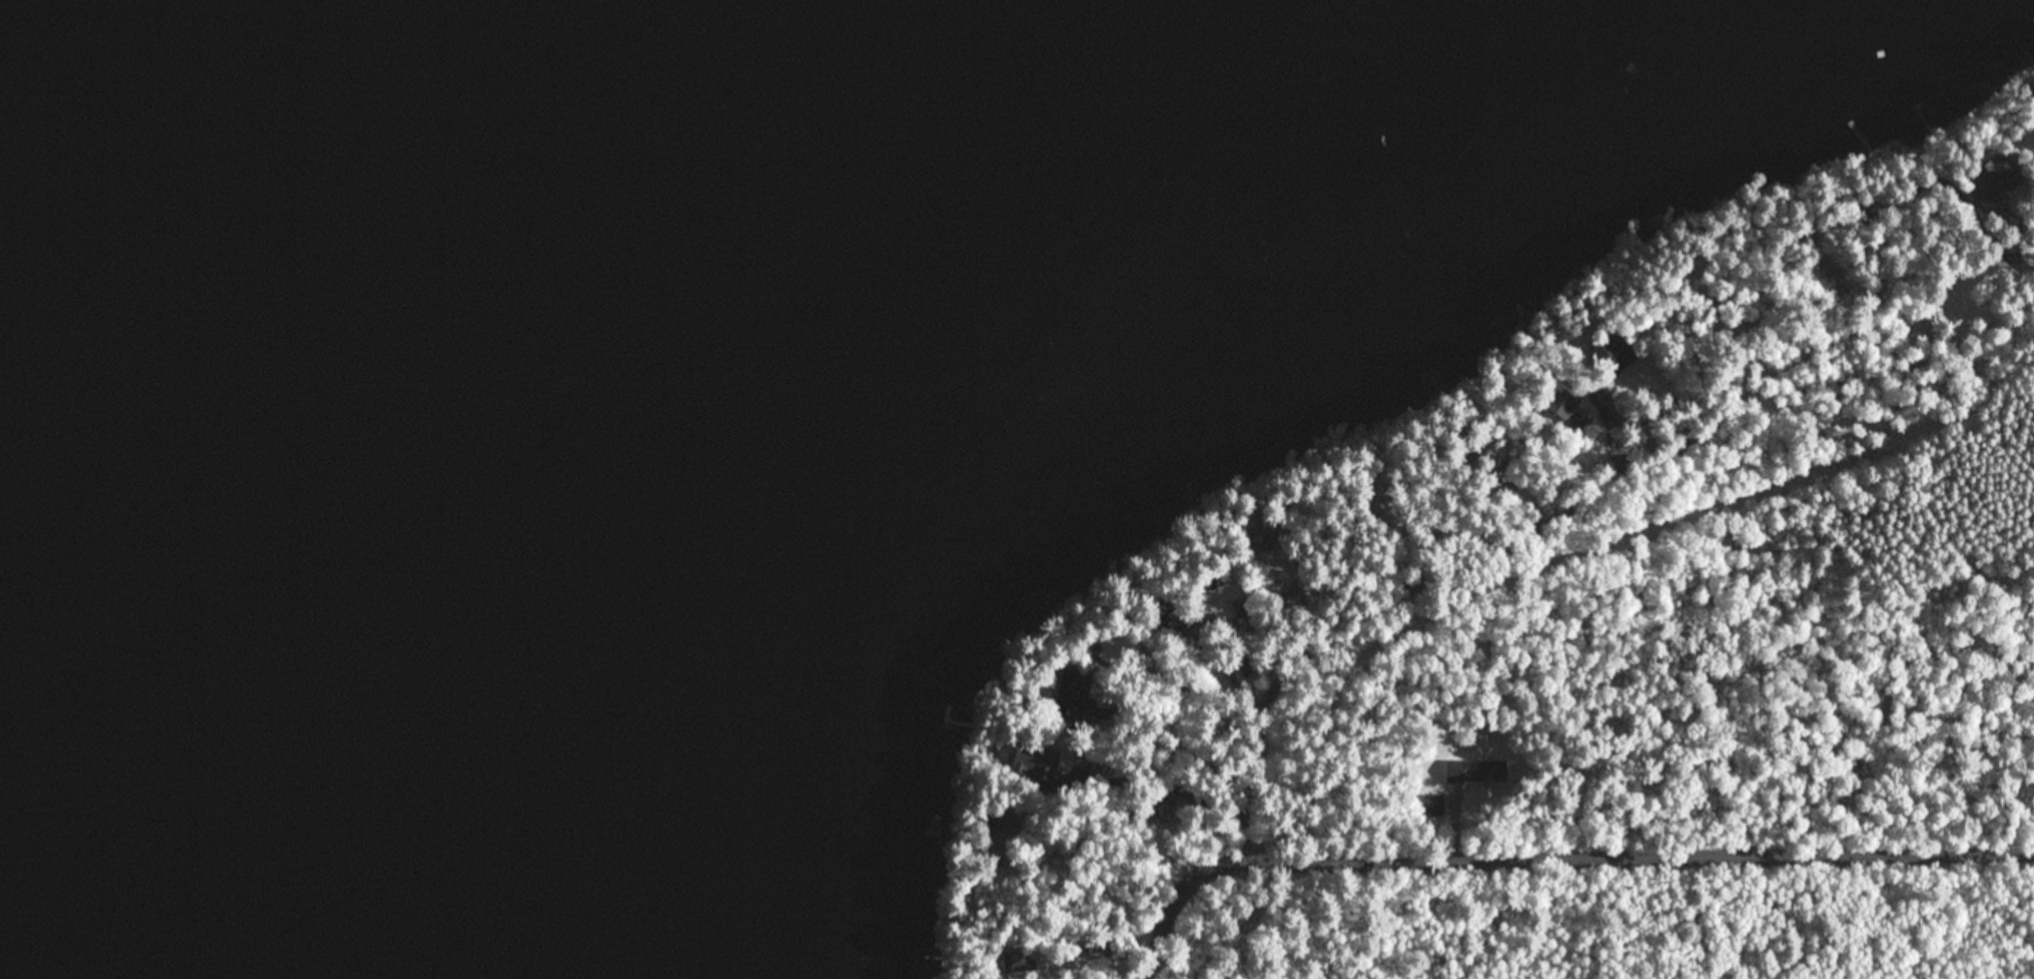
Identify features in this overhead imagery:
building: (1994, 182)
building: (1828, 279)
building: (1887, 291)
river: (173, 297)
building: (1732, 306)
building: (1614, 354)
building: (1693, 355)
building: (1559, 402)
building: (1585, 428)
building: (1475, 446)
building: (1459, 454)
building: (1519, 454)
building: (1374, 513)
building: (1268, 535)
road: (1501, 552)
building: (1265, 575)
building: (1213, 580)
building: (1293, 587)
building: (1168, 613)
building: (1251, 615)
building: (1121, 648)
building: (1252, 673)
building: (1070, 702)
building: (1096, 763)
building: (1043, 767)
building: (1478, 771)
building: (1005, 837)
building: (1070, 848)
road: (1607, 855)
road: (1173, 914)
building: (1100, 948)
building: (1018, 965)
building: (951, 975)

